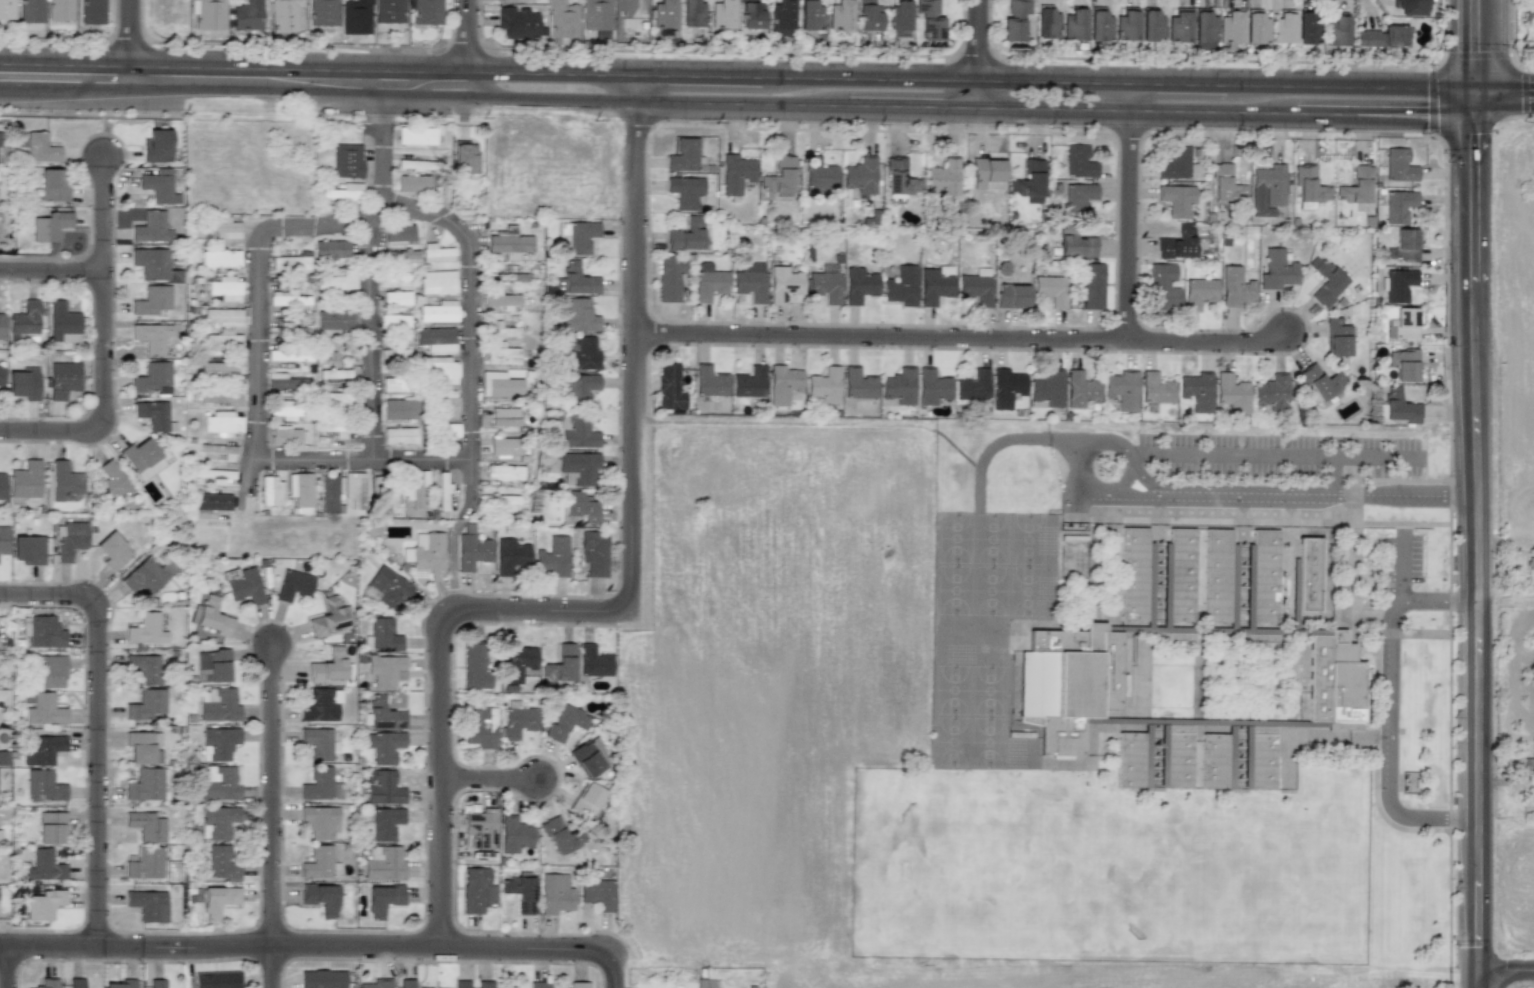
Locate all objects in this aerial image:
building: (505, 1)
building: (1410, 6)
building: (7, 9)
building: (60, 10)
building: (31, 11)
building: (390, 11)
building: (92, 12)
building: (322, 12)
building: (426, 12)
building: (208, 13)
building: (692, 13)
building: (597, 14)
building: (663, 14)
building: (722, 14)
building: (750, 14)
building: (247, 15)
building: (284, 15)
building: (809, 15)
building: (840, 15)
building: (868, 15)
building: (355, 17)
building: (898, 17)
building: (780, 18)
building: (562, 19)
building: (929, 20)
building: (1014, 20)
building: (516, 22)
building: (1047, 24)
building: (1073, 25)
building: (1150, 25)
building: (1099, 26)
building: (1125, 26)
building: (1178, 26)
building: (1230, 27)
building: (1283, 27)
road: (1509, 27)
building: (1256, 28)
building: (1308, 28)
building: (1337, 30)
building: (1203, 31)
building: (1382, 36)
road: (1444, 36)
road: (54, 40)
road: (275, 44)
road: (128, 45)
road: (462, 48)
road: (465, 48)
road: (1477, 49)
road: (720, 52)
road: (978, 53)
road: (976, 56)
road: (1470, 57)
road: (1214, 60)
road: (192, 66)
road: (399, 70)
road: (523, 72)
road: (698, 75)
road: (946, 79)
road: (1177, 83)
road: (1352, 85)
road: (635, 87)
road: (157, 91)
road: (372, 95)
road: (448, 97)
traffic signals: (1479, 98)
road: (1506, 98)
road: (550, 99)
road: (1432, 101)
road: (740, 102)
road: (912, 105)
road: (1136, 110)
road: (1323, 113)
road: (1417, 114)
road: (1462, 132)
building: (416, 136)
road: (385, 137)
building: (38, 146)
building: (156, 146)
building: (683, 155)
building: (465, 158)
building: (347, 160)
building: (1078, 162)
building: (1175, 163)
building: (1399, 165)
building: (735, 174)
building: (987, 174)
building: (861, 175)
building: (779, 176)
building: (819, 176)
building: (944, 177)
building: (900, 178)
building: (1029, 182)
building: (413, 183)
building: (1226, 184)
building: (52, 185)
building: (1309, 186)
building: (1355, 186)
building: (158, 188)
building: (1267, 190)
building: (685, 191)
building: (344, 193)
building: (1078, 198)
building: (1177, 200)
building: (1399, 206)
road: (1128, 212)
building: (49, 226)
building: (151, 227)
building: (226, 228)
building: (398, 232)
building: (686, 235)
building: (575, 237)
building: (509, 243)
building: (1177, 243)
building: (1075, 244)
building: (1403, 246)
building: (331, 249)
building: (436, 253)
building: (220, 258)
building: (290, 262)
building: (151, 263)
building: (1277, 270)
road: (51, 274)
building: (500, 277)
building: (669, 278)
road: (258, 280)
building: (575, 280)
building: (709, 281)
building: (751, 281)
building: (1325, 282)
building: (336, 283)
building: (437, 283)
building: (784, 284)
building: (935, 284)
building: (1398, 284)
building: (859, 285)
building: (825, 286)
building: (901, 286)
building: (976, 286)
building: (1092, 286)
building: (1162, 287)
building: (1235, 287)
building: (224, 288)
building: (1051, 290)
building: (1199, 293)
building: (1012, 295)
building: (288, 298)
building: (396, 298)
building: (499, 299)
building: (151, 300)
road: (472, 306)
building: (439, 312)
building: (225, 316)
building: (578, 316)
building: (24, 318)
building: (334, 320)
building: (394, 322)
building: (63, 323)
building: (1403, 324)
building: (1, 325)
building: (501, 329)
building: (151, 337)
road: (370, 337)
building: (1337, 338)
road: (962, 339)
building: (436, 340)
building: (222, 341)
road: (102, 347)
building: (580, 353)
building: (289, 355)
building: (501, 355)
road: (634, 357)
building: (1405, 365)
building: (217, 370)
building: (440, 370)
building: (1, 375)
building: (152, 378)
building: (62, 379)
building: (284, 381)
building: (709, 381)
building: (749, 382)
building: (1321, 382)
building: (23, 383)
building: (783, 384)
building: (858, 384)
building: (825, 385)
building: (899, 386)
building: (973, 386)
building: (670, 387)
building: (932, 387)
building: (503, 388)
building: (579, 388)
building: (1006, 388)
building: (1081, 389)
building: (1123, 389)
building: (1156, 389)
building: (1047, 390)
building: (1197, 391)
building: (1232, 393)
building: (1272, 393)
building: (333, 396)
building: (219, 397)
building: (1399, 407)
building: (397, 409)
building: (282, 410)
building: (153, 414)
building: (504, 417)
building: (222, 423)
building: (335, 428)
building: (577, 432)
building: (286, 436)
building: (399, 436)
road: (1004, 441)
building: (504, 447)
building: (218, 449)
road: (1124, 452)
road: (1272, 452)
road: (1477, 457)
building: (142, 458)
road: (363, 458)
road: (1078, 467)
building: (578, 468)
building: (504, 472)
road: (1334, 475)
building: (215, 476)
building: (25, 480)
building: (64, 481)
building: (112, 483)
building: (2, 486)
building: (416, 486)
building: (354, 489)
building: (271, 491)
building: (300, 491)
road: (1116, 495)
road: (1316, 497)
building: (211, 502)
building: (581, 506)
road: (1506, 538)
building: (4, 540)
building: (69, 540)
building: (28, 549)
building: (471, 549)
building: (112, 551)
building: (427, 552)
building: (594, 553)
building: (511, 557)
building: (552, 557)
building: (1530, 562)
road: (1401, 567)
building: (1306, 575)
building: (1130, 576)
building: (144, 577)
building: (1179, 577)
building: (1214, 577)
building: (1262, 577)
building: (243, 585)
building: (293, 585)
building: (387, 588)
road: (1506, 592)
road: (1439, 599)
building: (212, 616)
building: (328, 618)
building: (146, 629)
building: (42, 631)
building: (382, 636)
building: (593, 661)
building: (516, 662)
building: (560, 664)
building: (475, 665)
building: (212, 666)
building: (328, 666)
building: (144, 668)
building: (385, 670)
building: (50, 671)
road: (438, 681)
building: (1334, 683)
building: (1067, 685)
building: (146, 704)
building: (218, 705)
building: (321, 705)
road: (1389, 708)
building: (44, 710)
building: (382, 714)
building: (518, 720)
building: (565, 722)
road: (95, 725)
building: (481, 729)
building: (219, 743)
building: (317, 743)
building: (384, 746)
building: (143, 747)
building: (43, 750)
building: (1176, 757)
building: (586, 759)
building: (1257, 759)
building: (1128, 761)
building: (1212, 762)
building: (2, 763)
building: (1527, 764)
road: (487, 780)
building: (218, 783)
building: (43, 784)
building: (145, 784)
building: (383, 787)
road: (272, 796)
building: (587, 800)
road: (1440, 817)
building: (320, 821)
building: (218, 822)
building: (386, 823)
building: (146, 826)
building: (50, 827)
building: (481, 829)
building: (515, 835)
building: (562, 836)
building: (145, 863)
building: (222, 863)
building: (317, 863)
building: (385, 864)
building: (44, 866)
building: (477, 890)
building: (521, 891)
road: (1478, 892)
building: (555, 893)
building: (597, 893)
building: (320, 898)
building: (383, 899)
building: (217, 900)
building: (44, 904)
building: (148, 905)
road: (307, 947)
road: (6, 967)
road: (271, 967)
road: (1506, 967)
road: (615, 969)
road: (1478, 977)
building: (217, 979)
building: (322, 979)
building: (47, 983)
building: (75, 983)
building: (157, 983)
building: (377, 983)
building: (407, 983)
building: (704, 983)
building: (121, 984)
building: (461, 984)
building: (484, 984)
building: (539, 984)
building: (578, 984)

